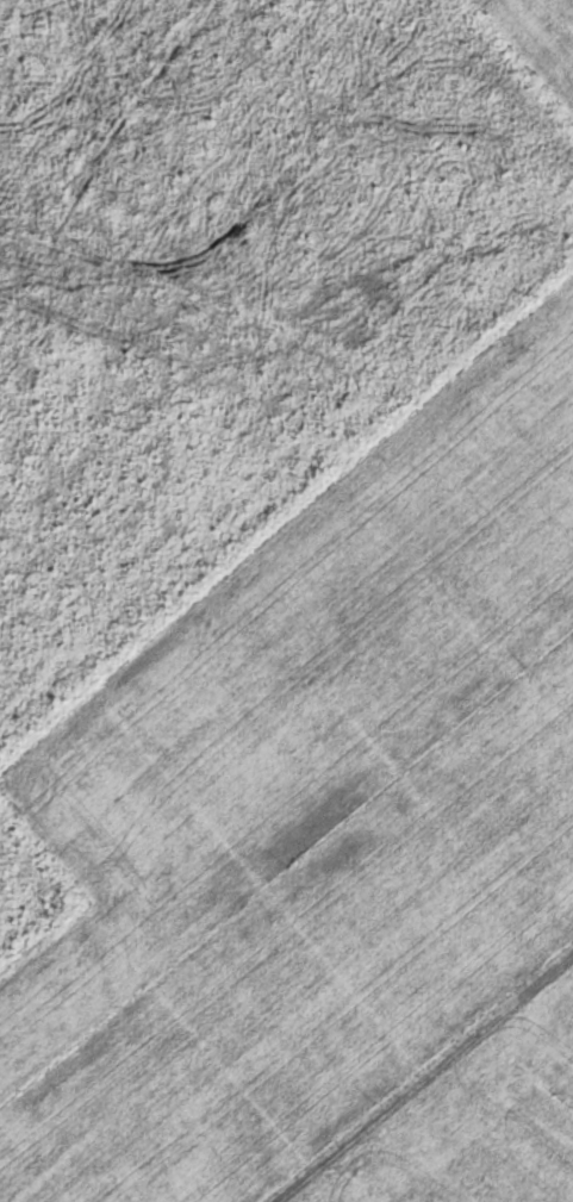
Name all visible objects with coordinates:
road: (421, 1075)

